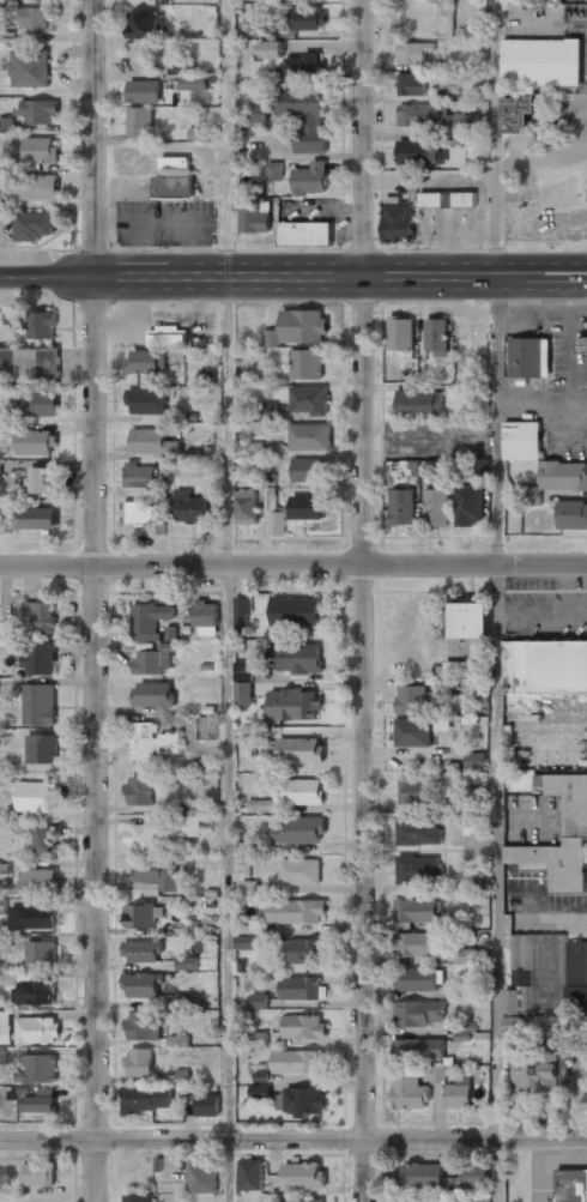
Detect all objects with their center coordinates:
building: (308, 0)
building: (32, 20)
building: (304, 20)
building: (145, 24)
building: (0, 34)
building: (272, 50)
building: (413, 53)
building: (140, 56)
building: (540, 62)
building: (178, 66)
building: (301, 67)
building: (30, 68)
building: (193, 83)
building: (411, 85)
building: (144, 91)
building: (449, 93)
building: (259, 113)
building: (37, 114)
building: (516, 115)
building: (424, 116)
building: (305, 117)
building: (139, 123)
building: (6, 125)
building: (195, 134)
road: (494, 138)
road: (228, 139)
building: (450, 139)
building: (40, 151)
building: (422, 153)
building: (276, 170)
building: (311, 180)
building: (174, 181)
building: (34, 188)
building: (464, 199)
building: (2, 200)
building: (431, 200)
building: (254, 217)
building: (398, 223)
building: (34, 226)
building: (305, 234)
road: (293, 278)
building: (13, 318)
building: (41, 325)
building: (298, 327)
building: (400, 334)
building: (165, 337)
building: (437, 338)
building: (582, 344)
building: (528, 358)
building: (146, 362)
building: (29, 363)
building: (305, 364)
building: (308, 400)
building: (147, 403)
building: (37, 404)
building: (419, 404)
building: (265, 410)
road: (495, 421)
road: (229, 422)
building: (309, 437)
building: (522, 441)
building: (152, 442)
building: (36, 443)
building: (256, 451)
building: (0, 470)
building: (309, 471)
building: (141, 477)
building: (564, 477)
building: (41, 481)
building: (529, 495)
building: (470, 506)
building: (246, 507)
building: (192, 508)
building: (308, 508)
building: (403, 508)
building: (436, 508)
building: (139, 514)
building: (573, 515)
building: (4, 517)
building: (40, 519)
building: (515, 520)
building: (277, 525)
road: (292, 566)
road: (96, 600)
road: (363, 600)
building: (241, 612)
building: (293, 612)
building: (205, 615)
building: (41, 617)
building: (149, 620)
building: (470, 621)
building: (6, 629)
building: (38, 658)
building: (293, 659)
building: (151, 663)
building: (242, 670)
building: (460, 670)
building: (541, 671)
building: (153, 695)
building: (242, 696)
building: (412, 700)
building: (40, 703)
building: (292, 706)
building: (206, 729)
building: (412, 733)
building: (152, 745)
building: (42, 749)
building: (299, 751)
building: (476, 761)
building: (139, 791)
building: (417, 791)
building: (299, 792)
building: (34, 797)
building: (261, 805)
building: (575, 816)
building: (473, 827)
building: (189, 828)
building: (298, 832)
building: (418, 832)
building: (143, 836)
building: (41, 841)
building: (418, 870)
building: (298, 872)
building: (156, 875)
building: (471, 877)
building: (34, 882)
road: (230, 883)
road: (498, 883)
building: (249, 888)
building: (2, 907)
building: (296, 912)
building: (416, 912)
building: (139, 917)
building: (32, 918)
building: (249, 943)
building: (419, 946)
building: (141, 952)
building: (41, 954)
building: (302, 954)
building: (470, 956)
building: (187, 964)
building: (540, 971)
building: (417, 980)
building: (143, 985)
building: (301, 990)
building: (34, 991)
building: (183, 1001)
building: (259, 1001)
building: (418, 1014)
building: (143, 1026)
building: (6, 1027)
building: (303, 1027)
building: (464, 1031)
building: (36, 1032)
building: (260, 1039)
building: (178, 1041)
building: (418, 1050)
building: (1, 1056)
building: (297, 1062)
building: (140, 1063)
building: (37, 1070)
building: (539, 1073)
building: (436, 1074)
building: (183, 1077)
building: (260, 1092)
building: (409, 1092)
building: (458, 1097)
building: (144, 1099)
building: (304, 1101)
building: (37, 1104)
building: (207, 1106)
road: (292, 1141)
building: (40, 1174)
building: (252, 1174)
building: (303, 1176)
building: (202, 1178)
building: (443, 1179)
building: (570, 1185)
building: (139, 1198)
building: (304, 1201)
building: (429, 1201)

